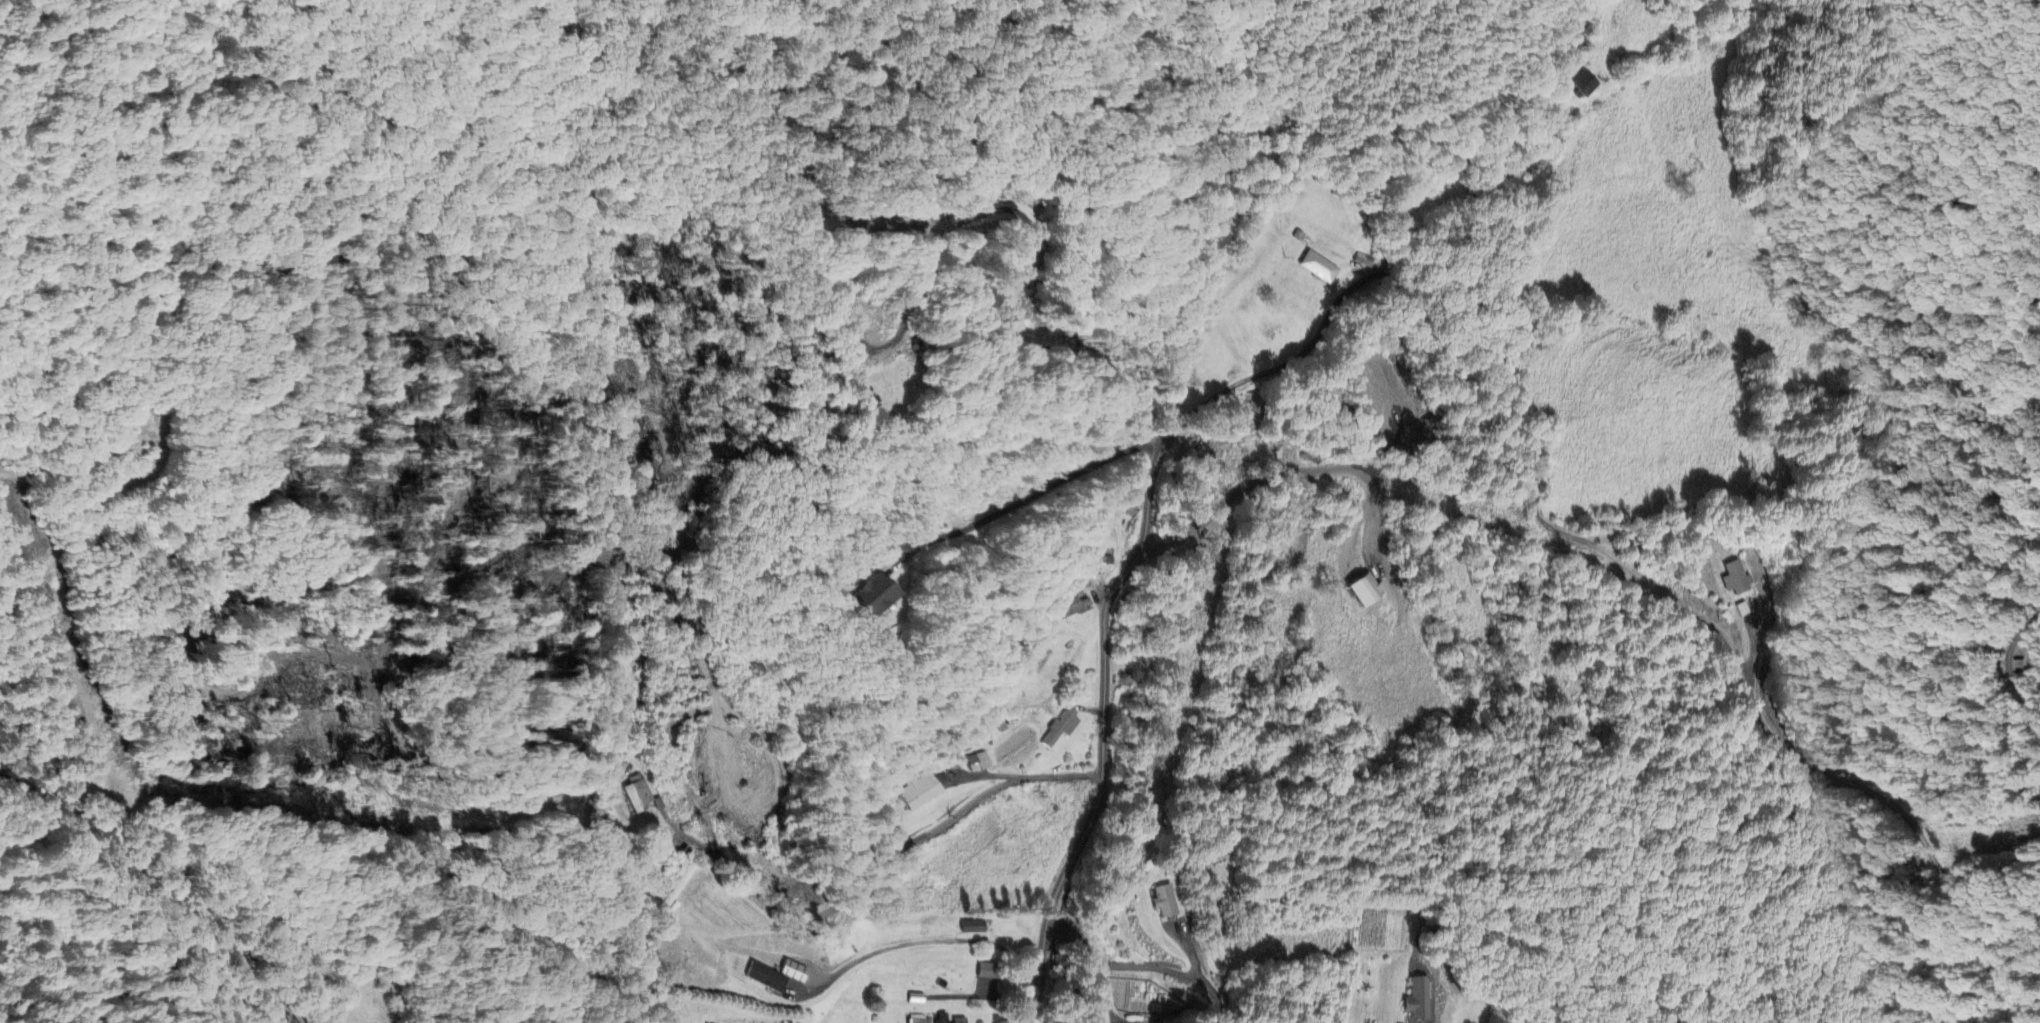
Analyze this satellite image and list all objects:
building: (1584, 85)
building: (1319, 268)
park: (895, 393)
road: (1178, 434)
building: (1736, 578)
building: (1365, 589)
building: (874, 596)
building: (1069, 607)
road: (1680, 607)
road: (2013, 688)
building: (1068, 726)
building: (979, 762)
building: (919, 792)
building: (639, 796)
road: (892, 850)
building: (1164, 901)
building: (973, 927)
road: (924, 943)
road: (1132, 968)
building: (795, 972)
building: (988, 972)
building: (766, 978)
building: (1419, 1000)
building: (942, 1018)
building: (919, 1020)

